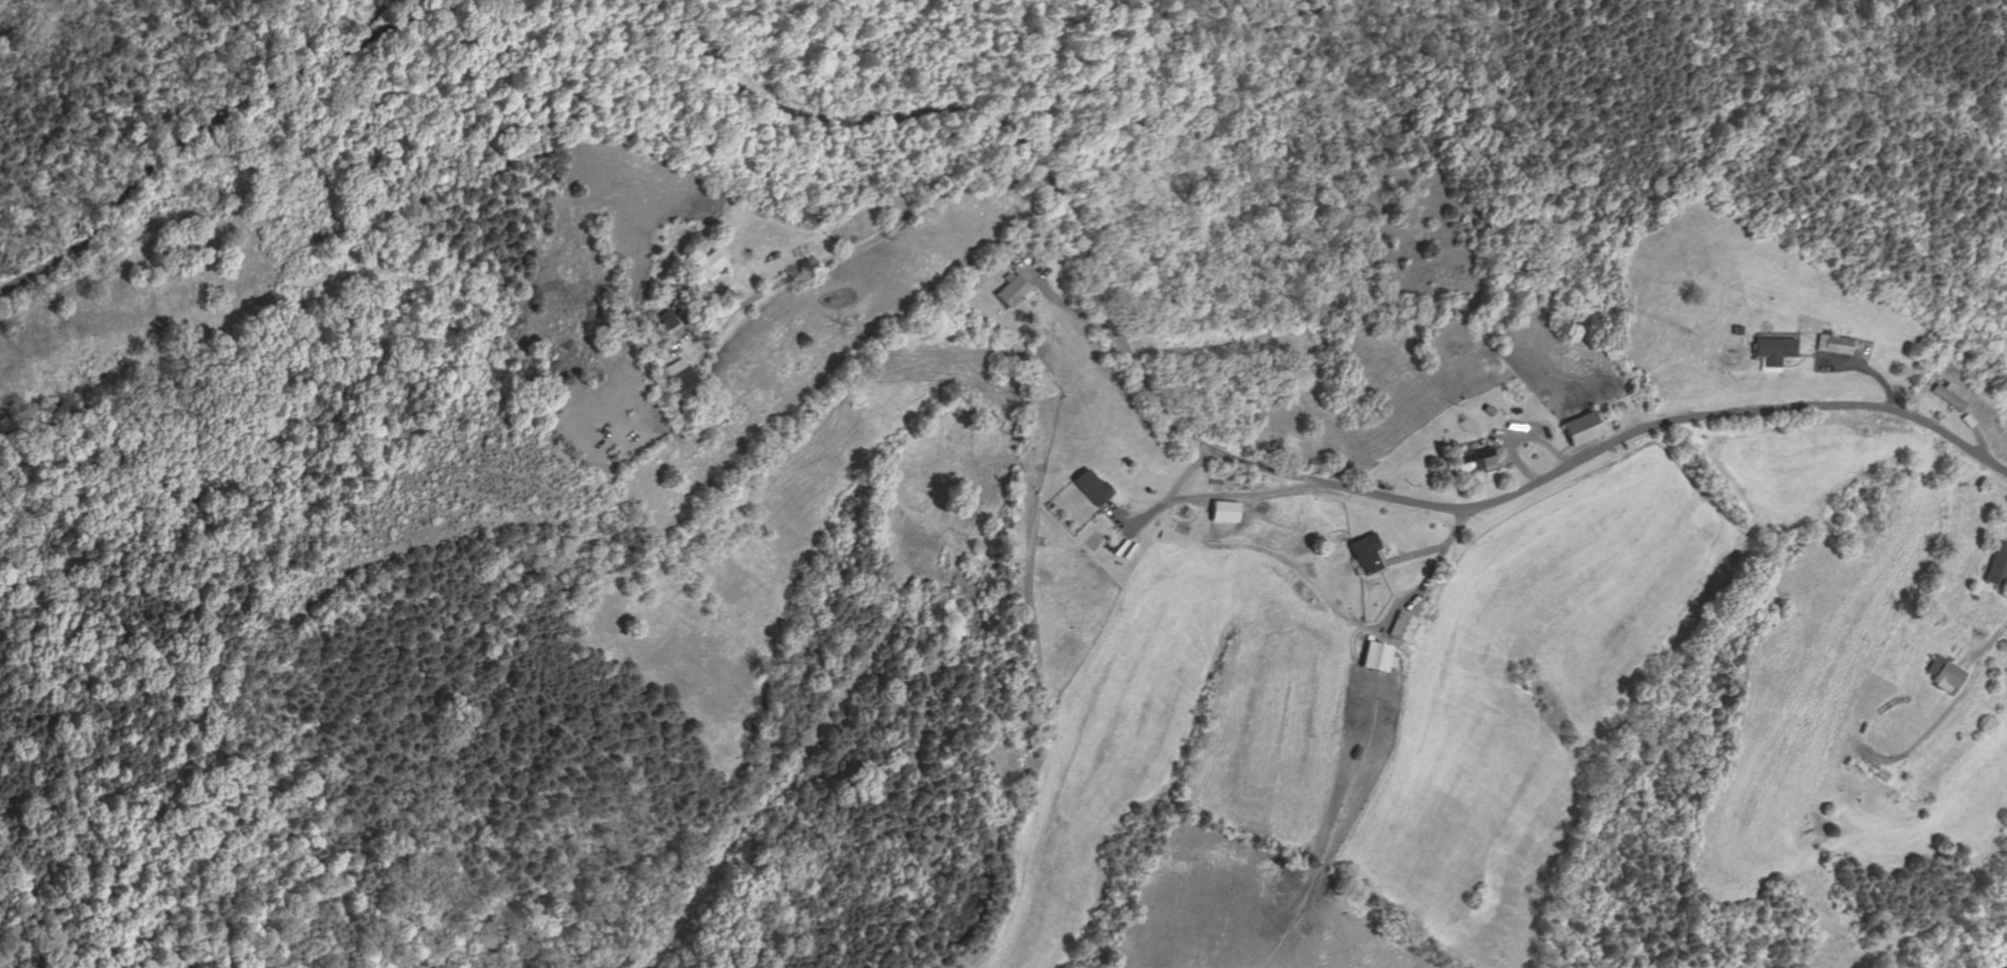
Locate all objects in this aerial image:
road: (209, 117)
road: (863, 242)
building: (1004, 256)
building: (700, 269)
road: (1035, 272)
building: (1010, 291)
road: (1055, 300)
road: (680, 314)
building: (663, 321)
building: (1733, 330)
building: (1827, 344)
building: (1769, 349)
road: (1850, 357)
road: (1795, 361)
road: (1860, 369)
building: (679, 382)
building: (1986, 390)
building: (1943, 396)
building: (1483, 410)
building: (1509, 411)
building: (1575, 428)
road: (1515, 436)
road: (1974, 436)
road: (1498, 437)
road: (1227, 457)
building: (1471, 461)
building: (1089, 486)
road: (1237, 495)
road: (1158, 503)
building: (1048, 505)
building: (1221, 510)
road: (1428, 549)
building: (1361, 552)
building: (1998, 566)
road: (1375, 569)
road: (1296, 573)
road: (1409, 595)
building: (1397, 625)
road: (1388, 642)
road: (1986, 642)
building: (1372, 655)
building: (1945, 674)
road: (1935, 725)

